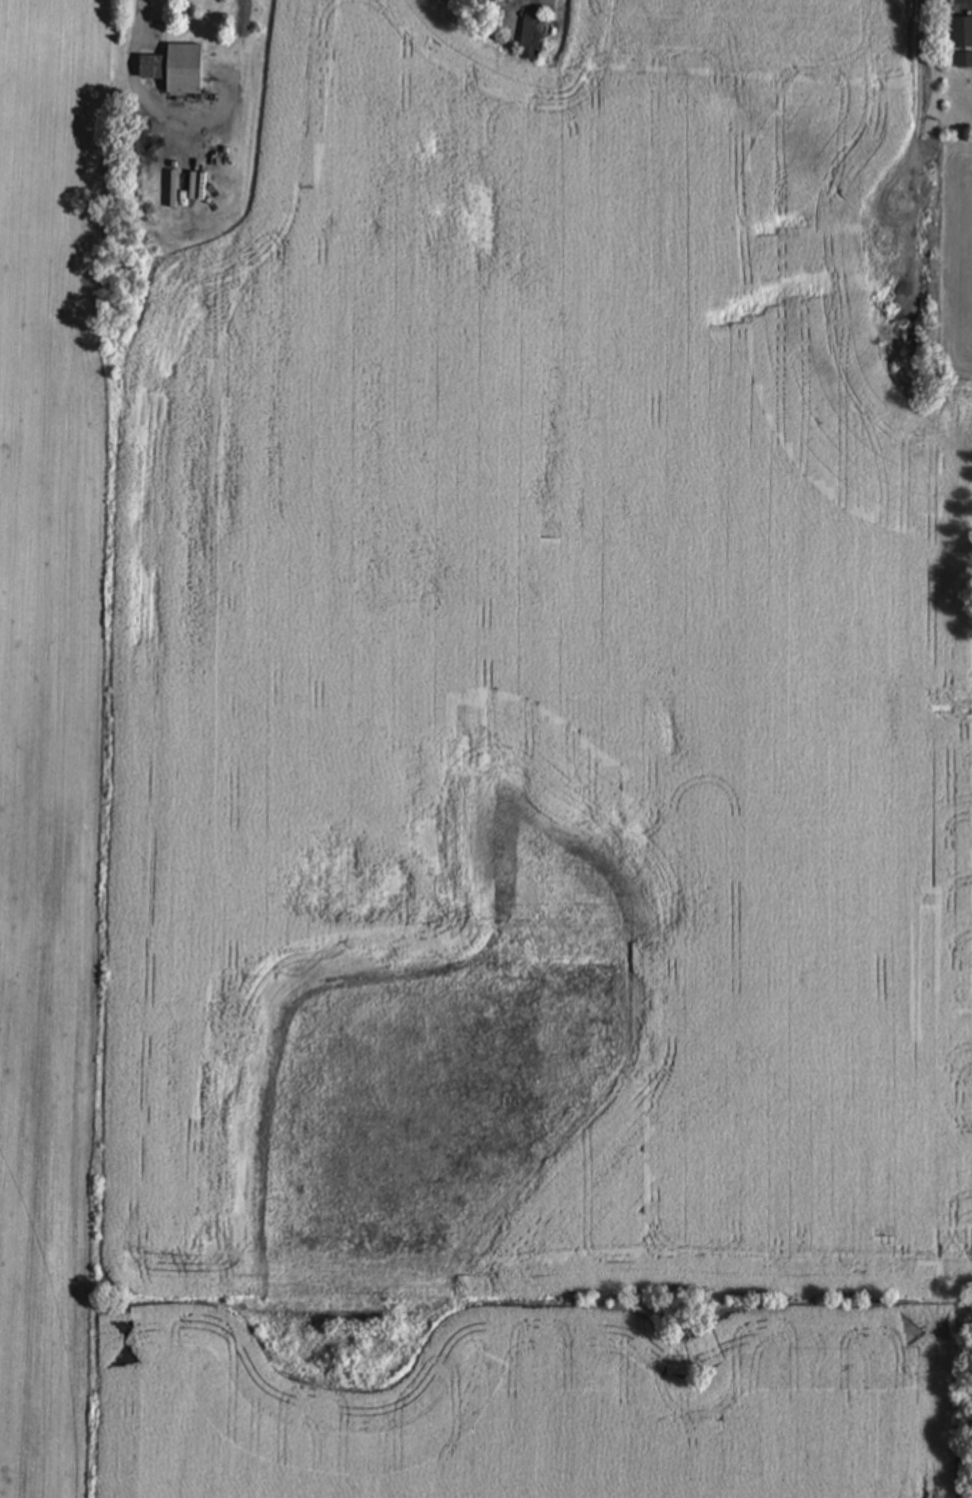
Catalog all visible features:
road: (130, 30)
building: (532, 37)
building: (963, 43)
building: (177, 70)

